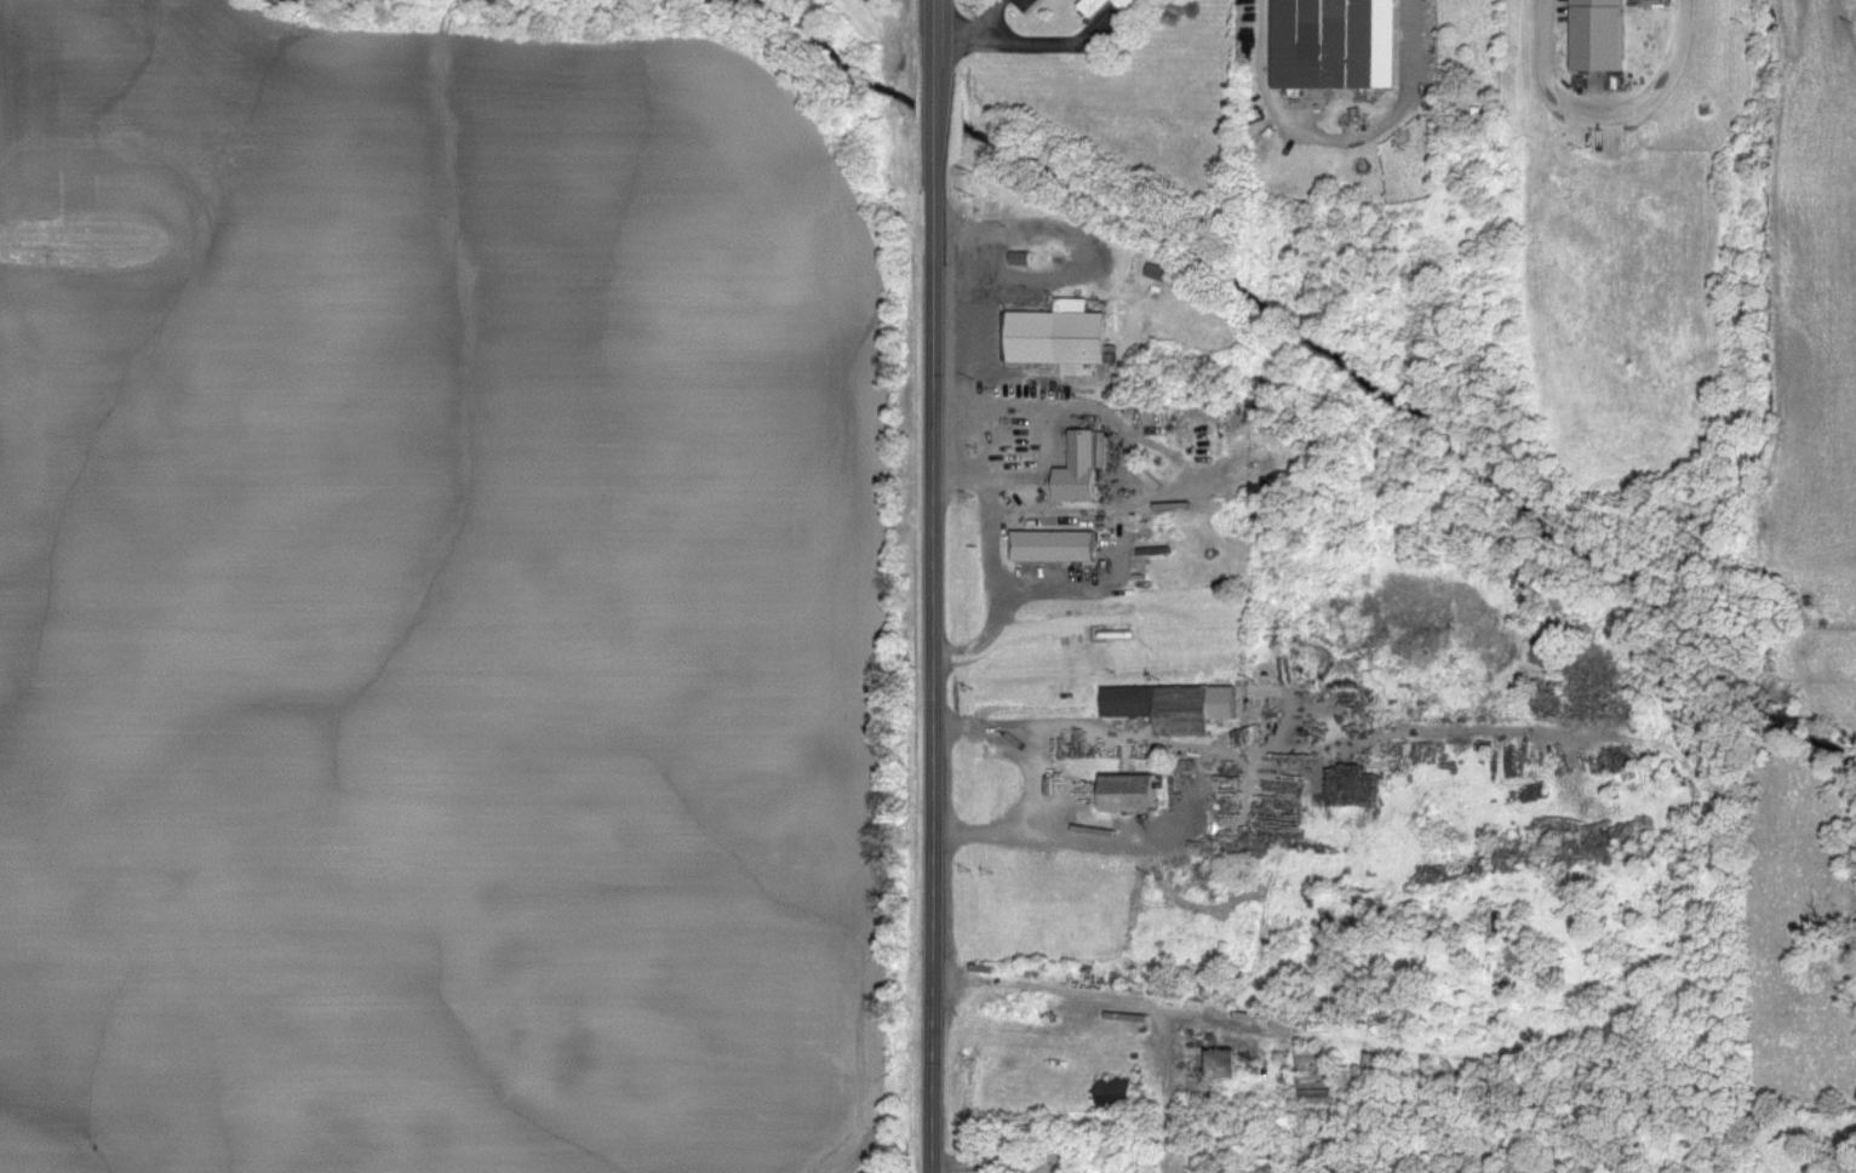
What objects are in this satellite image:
building: (1096, 12)
road: (975, 28)
building: (1600, 35)
building: (1339, 44)
road: (1610, 113)
road: (1342, 133)
building: (1022, 259)
building: (1064, 339)
building: (1082, 470)
building: (1056, 548)
road: (934, 586)
building: (1175, 709)
building: (1133, 795)
building: (1358, 795)
building: (1230, 802)
road: (1111, 915)
building: (1227, 1066)
building: (1118, 1095)

